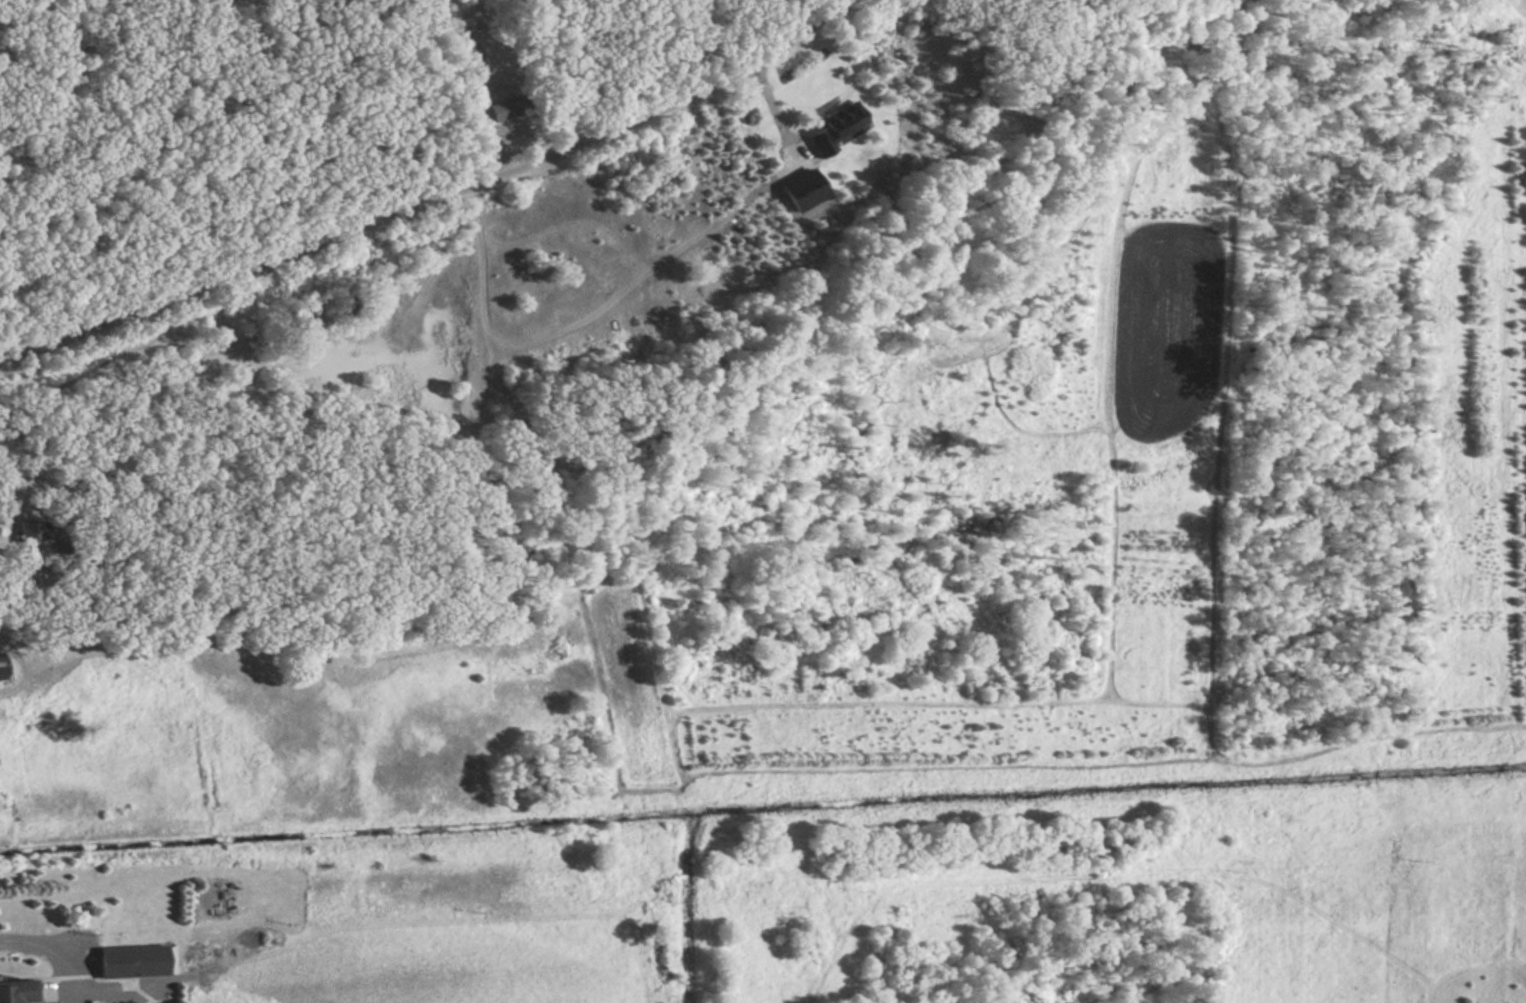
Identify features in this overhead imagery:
road: (1340, 61)
building: (504, 110)
building: (850, 131)
road: (436, 195)
building: (31, 534)
building: (2, 671)
building: (136, 962)
building: (19, 992)

